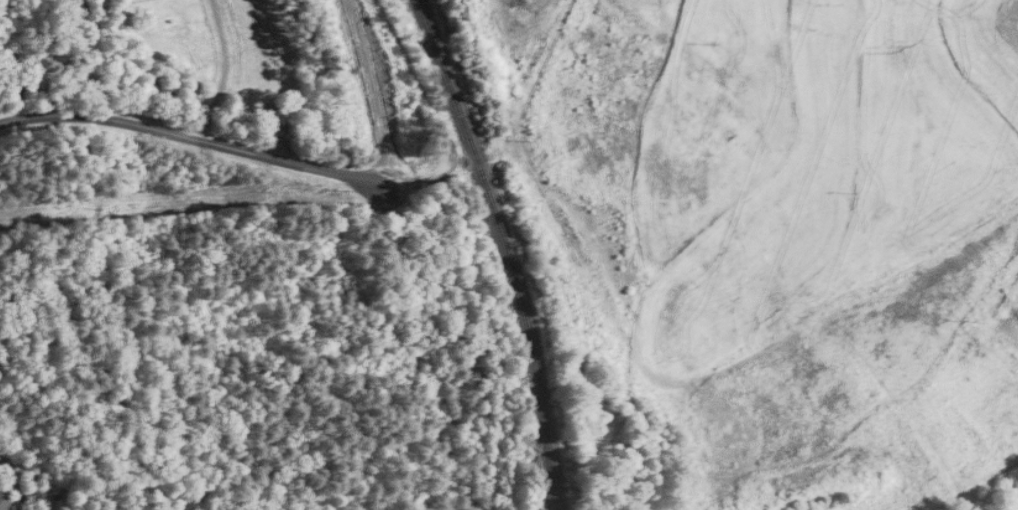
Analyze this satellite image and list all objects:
road: (222, 71)
road: (193, 138)
railway: (498, 251)
road: (15, 483)
building: (5, 503)

